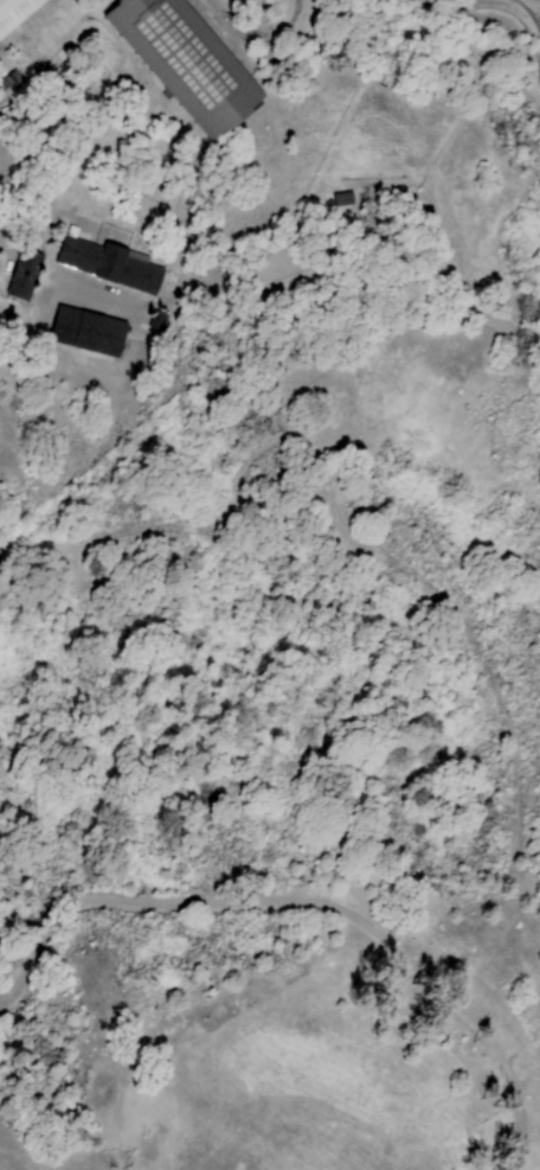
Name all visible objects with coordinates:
railway: (484, 8)
building: (17, 14)
railway: (534, 26)
building: (182, 68)
building: (341, 197)
building: (110, 251)
building: (24, 274)
building: (89, 330)

